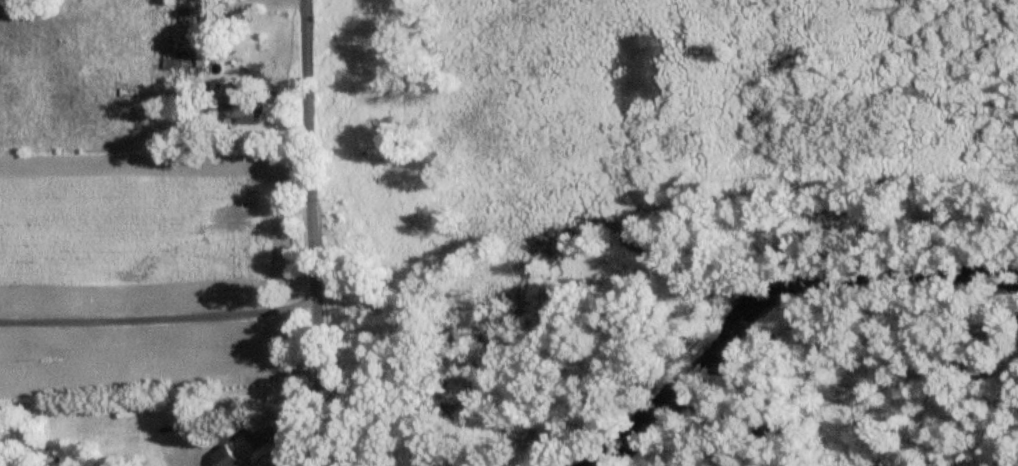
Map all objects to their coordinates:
building: (177, 36)
building: (240, 104)
road: (316, 182)
river: (770, 291)
building: (6, 296)
road: (161, 318)
road: (300, 413)
building: (223, 457)

